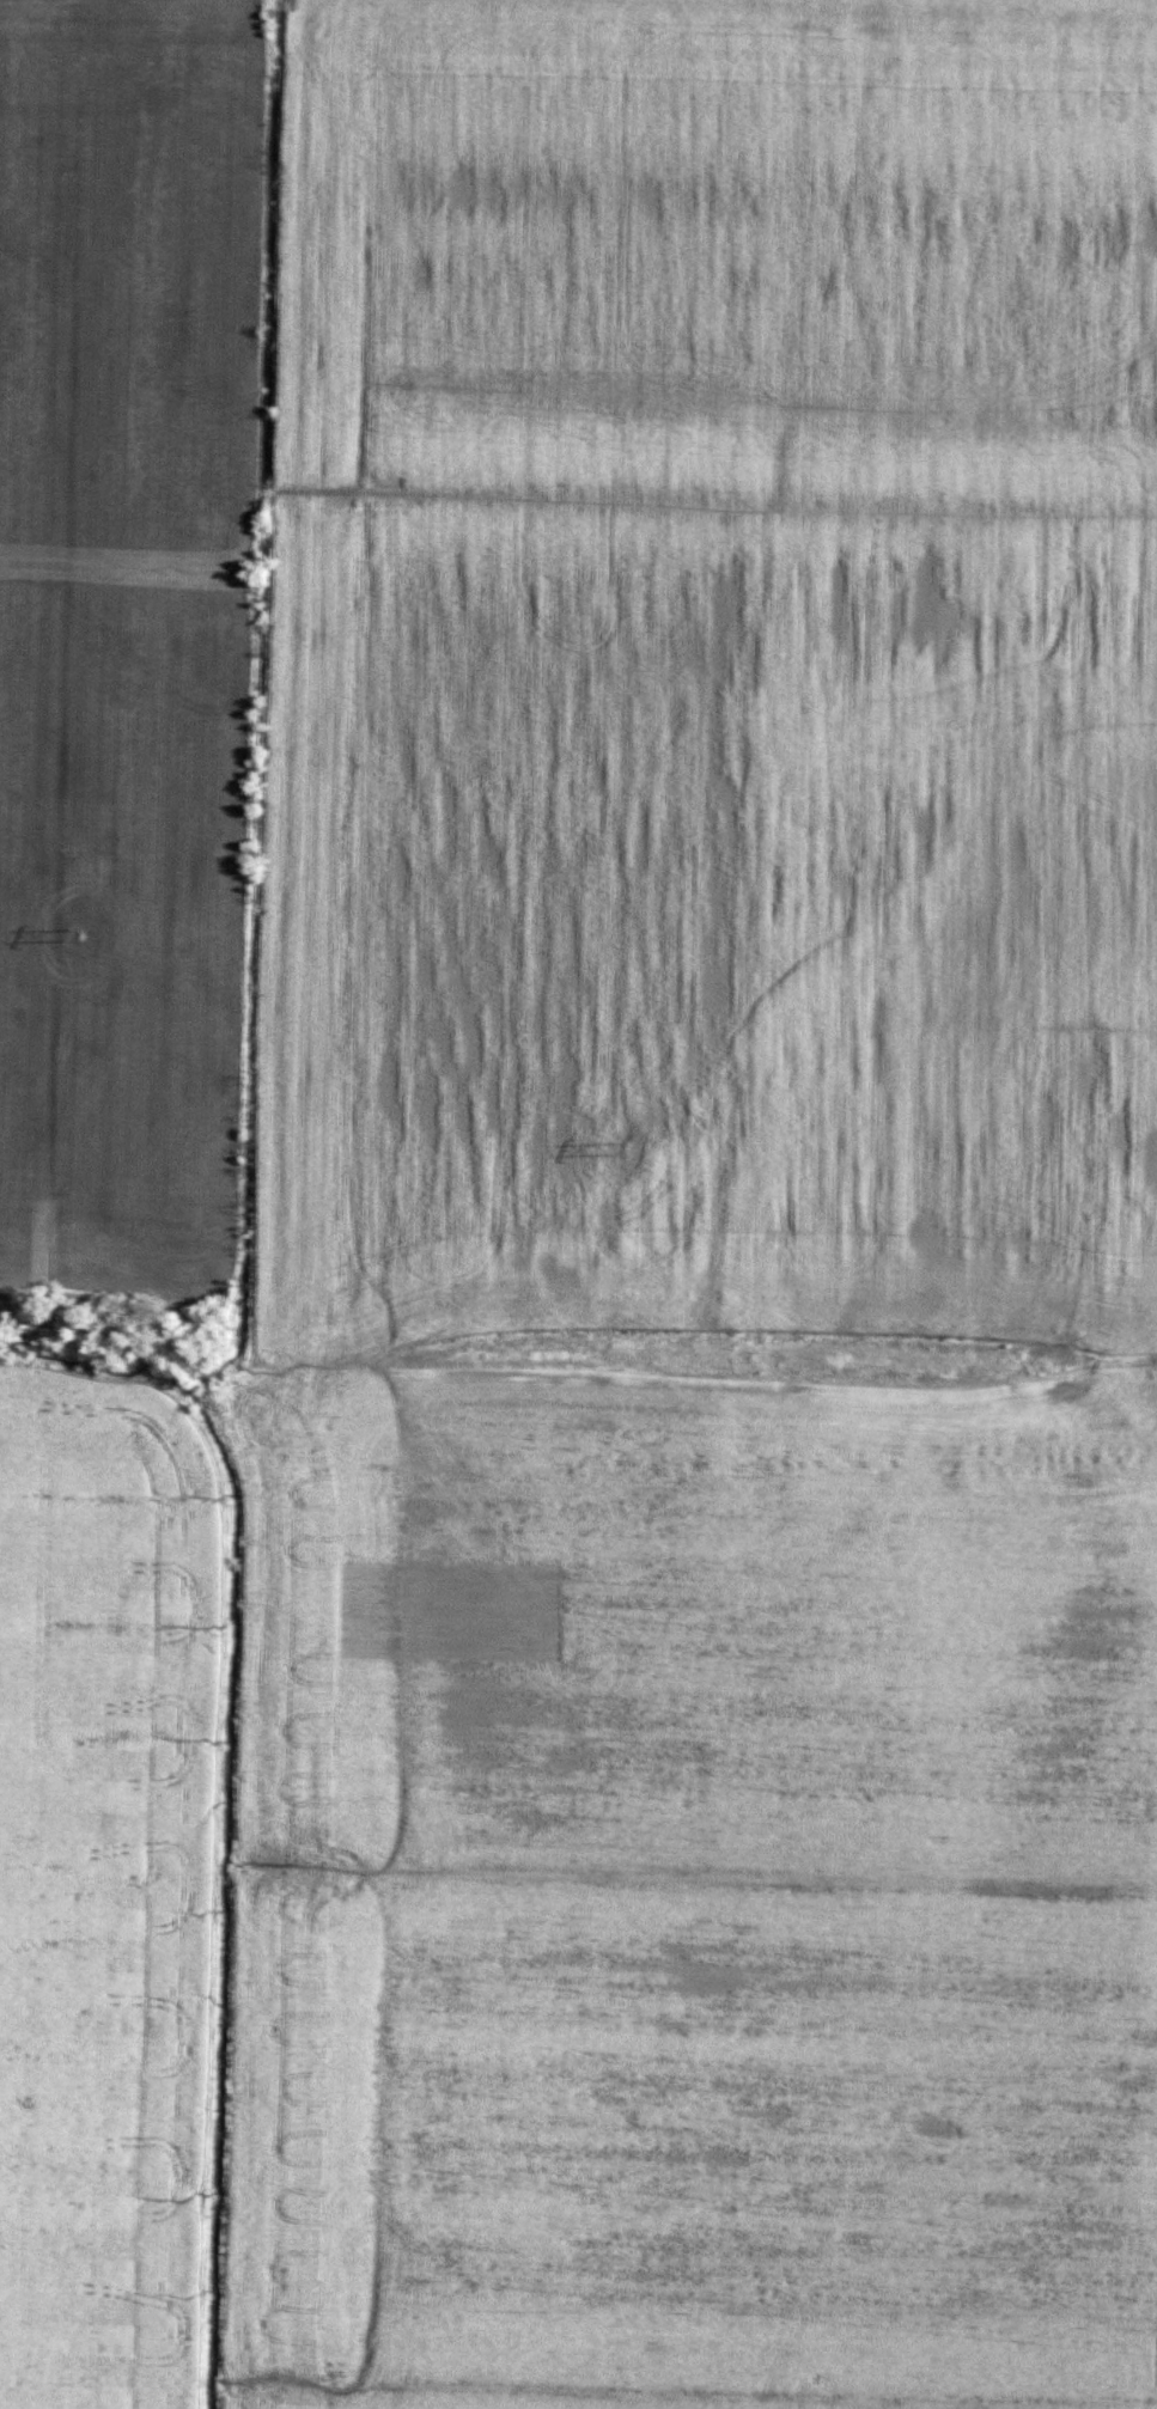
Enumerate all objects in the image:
power tower: (60, 927)
power tower: (602, 1147)
power tower: (1143, 1362)

